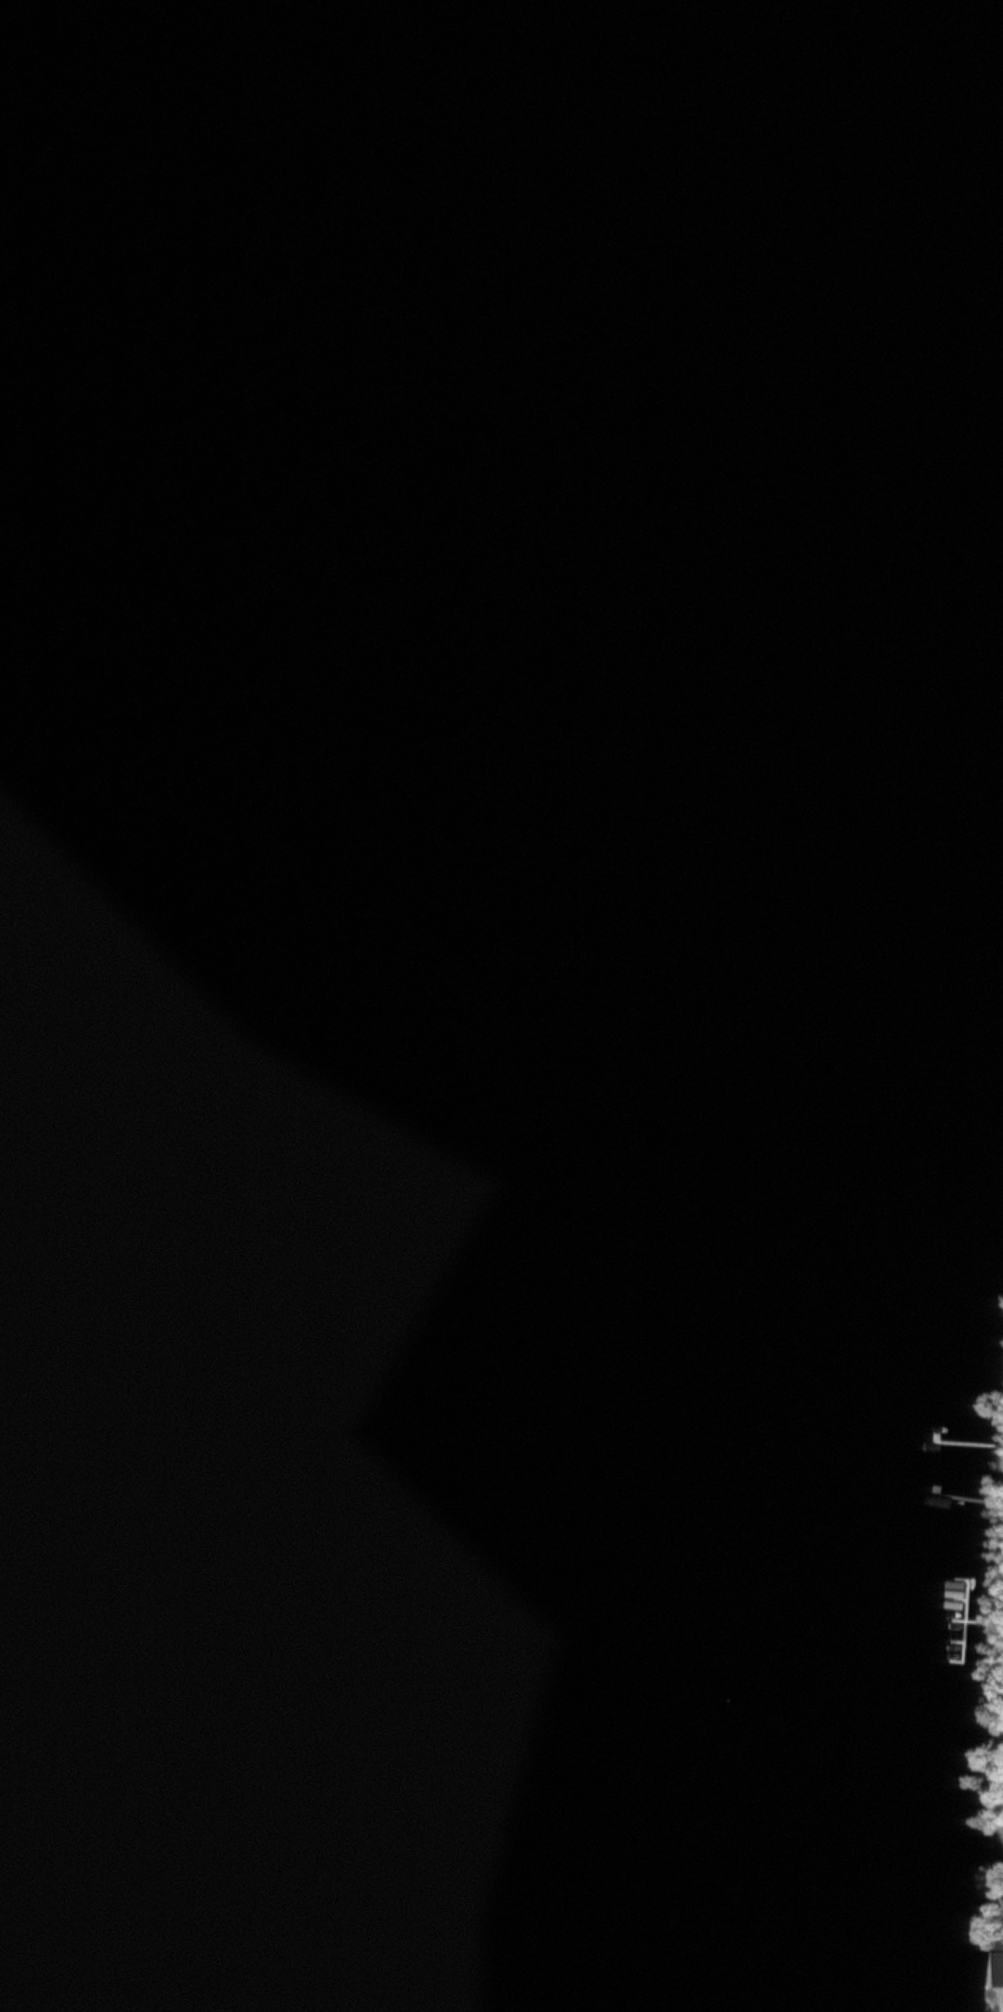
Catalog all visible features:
building: (1001, 1914)
building: (996, 1961)

